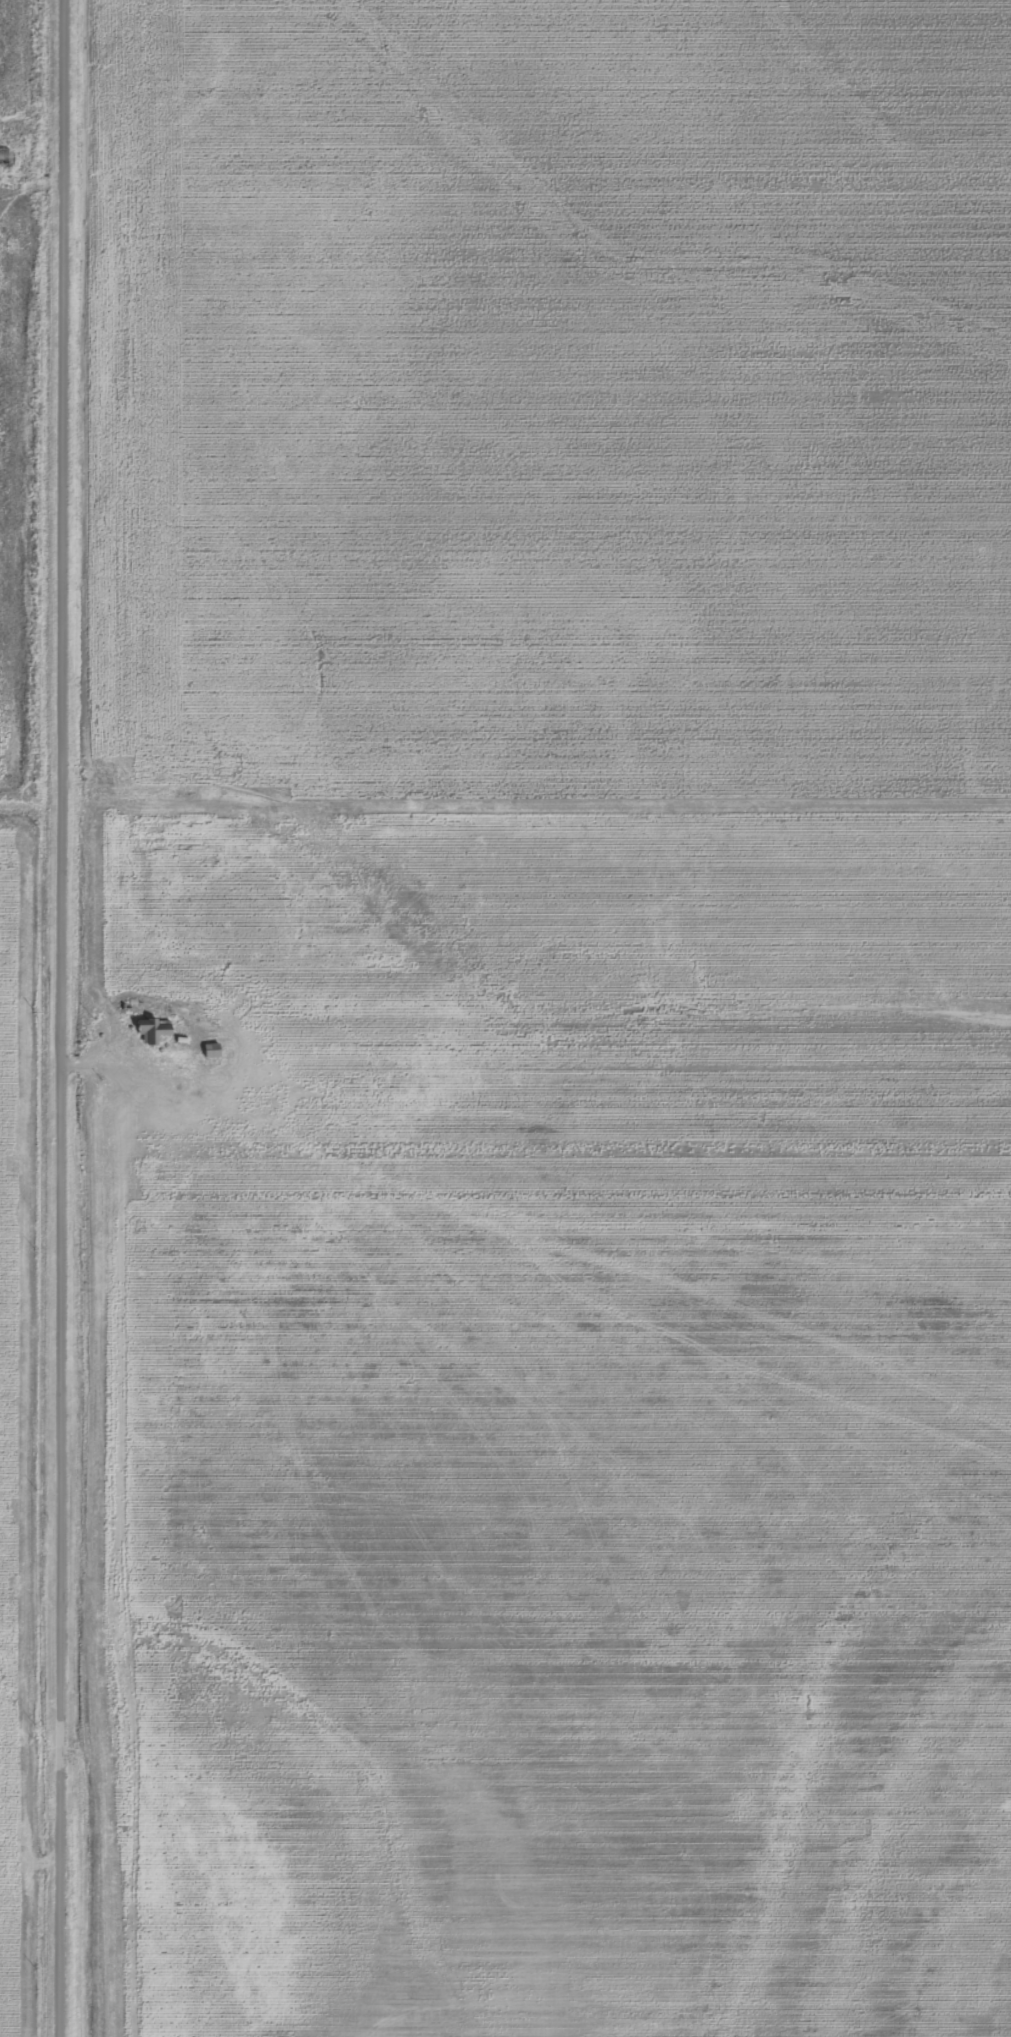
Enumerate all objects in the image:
road: (33, 184)
road: (64, 1018)
building: (154, 1031)
building: (213, 1050)
road: (120, 1061)

